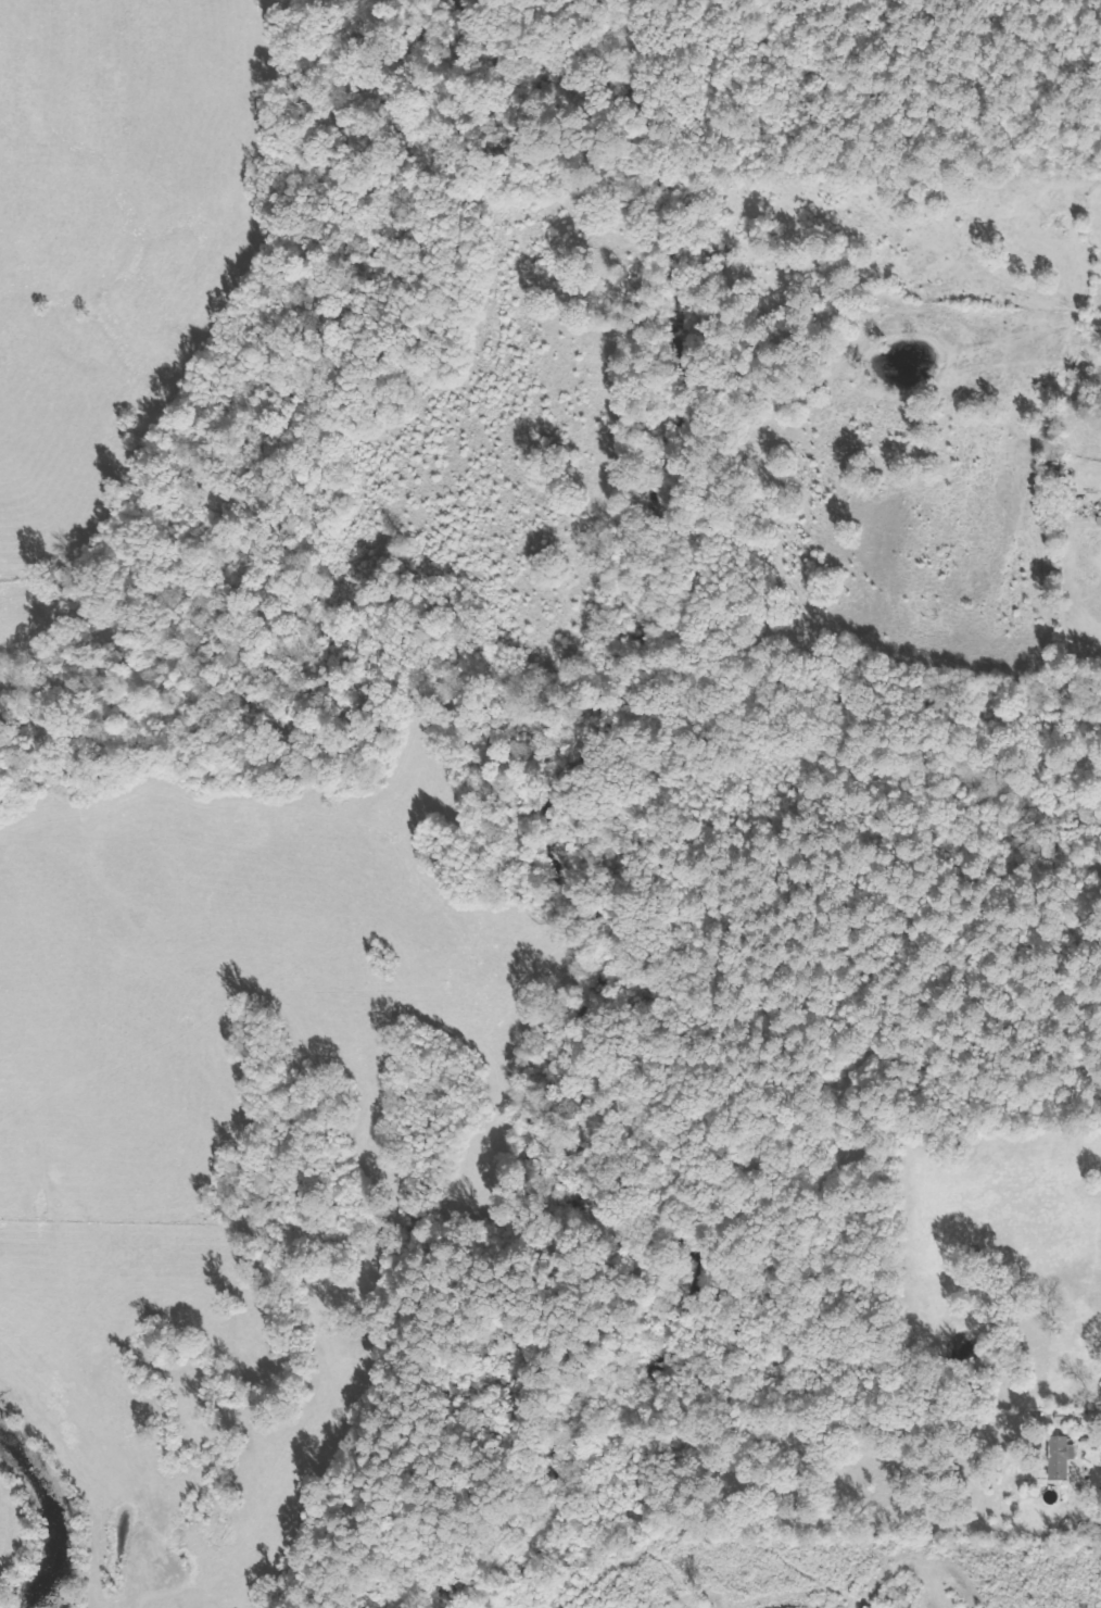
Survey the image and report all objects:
building: (1067, 1418)
building: (1062, 1457)

